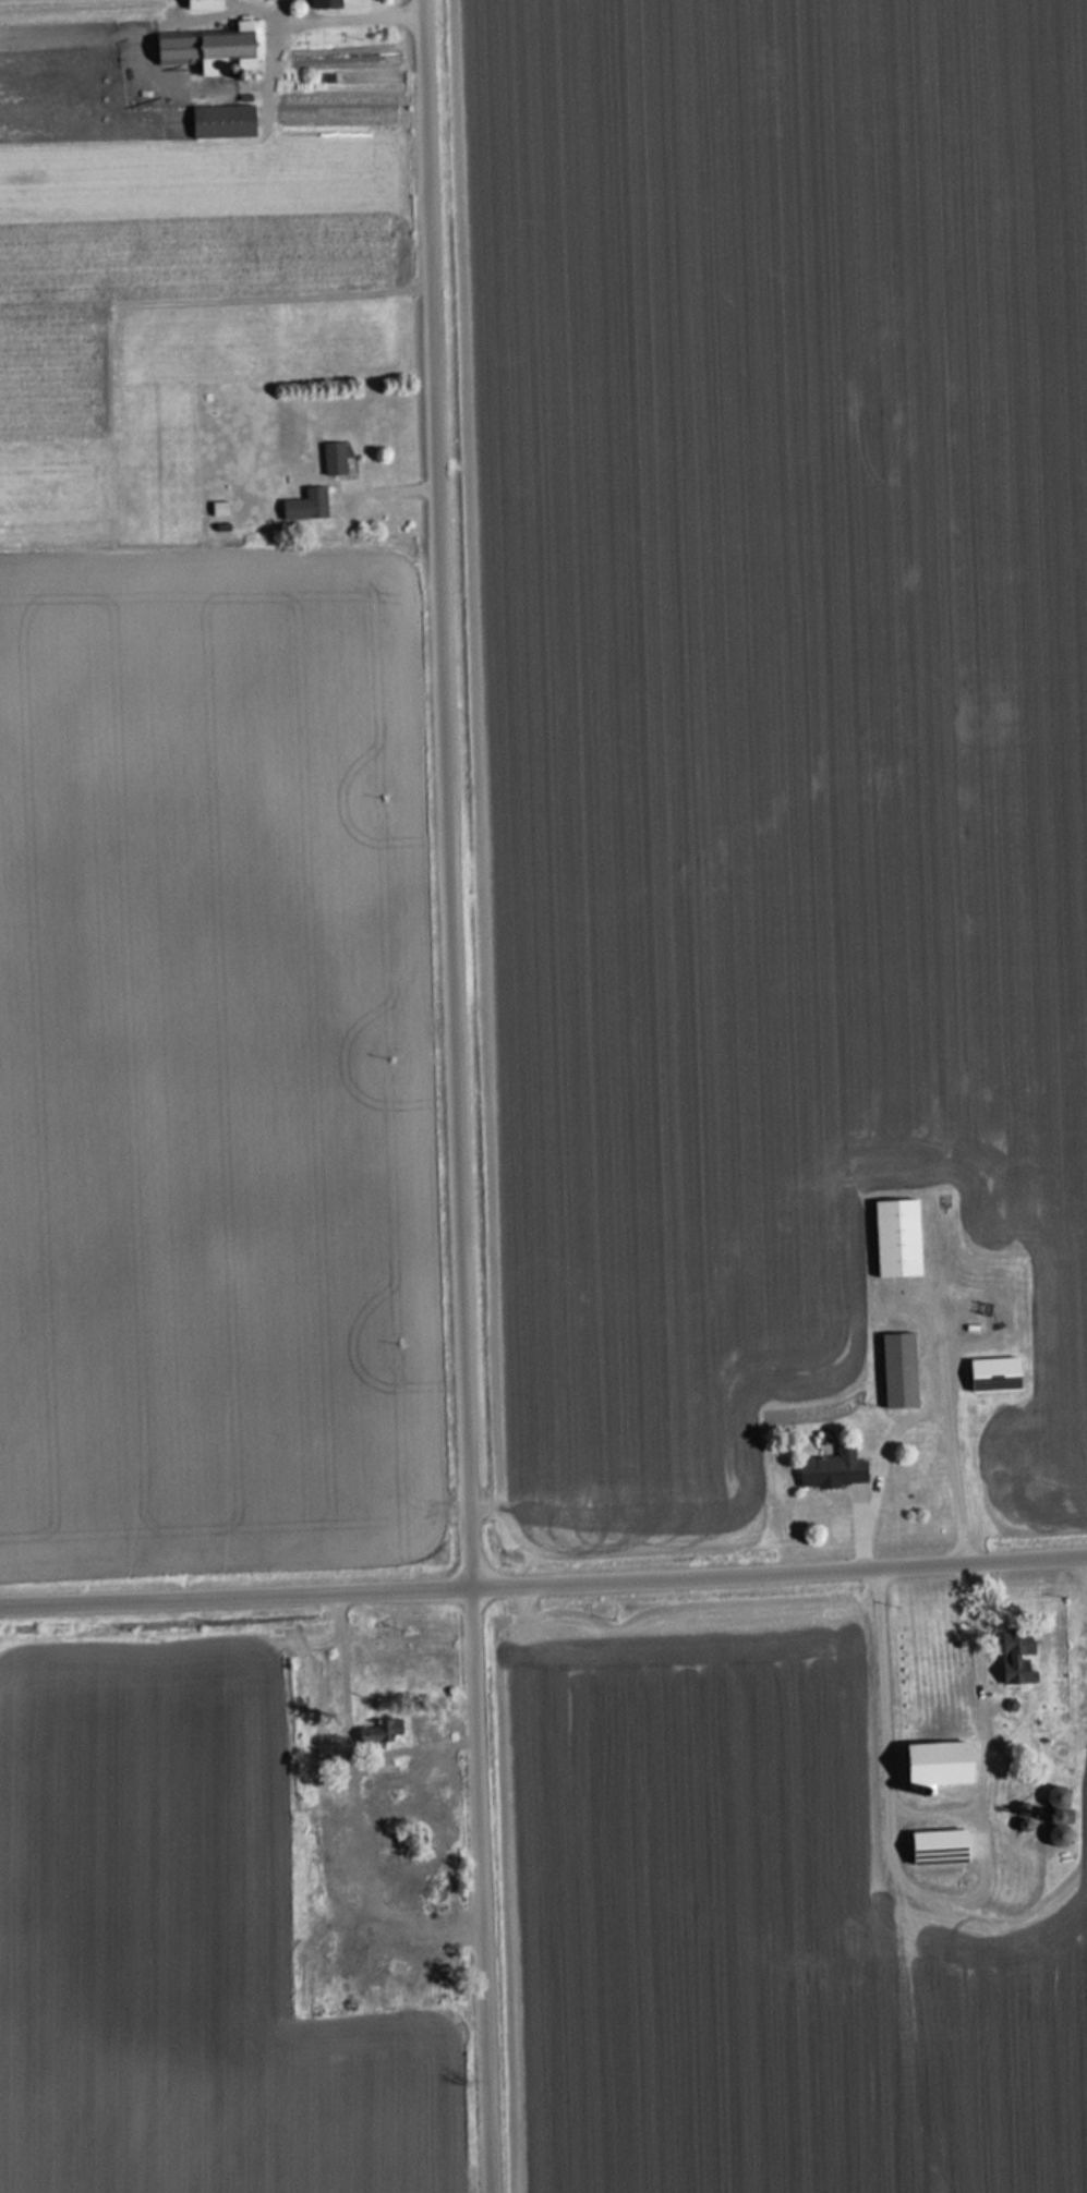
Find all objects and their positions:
building: (326, 3)
building: (206, 4)
building: (232, 48)
building: (225, 121)
building: (335, 458)
building: (307, 505)
building: (220, 508)
road: (457, 1096)
building: (898, 1238)
building: (1001, 1310)
building: (901, 1370)
building: (997, 1374)
building: (835, 1469)
road: (543, 1587)
building: (1018, 1655)
building: (382, 1733)
building: (942, 1761)
building: (1060, 1834)
building: (942, 1845)

